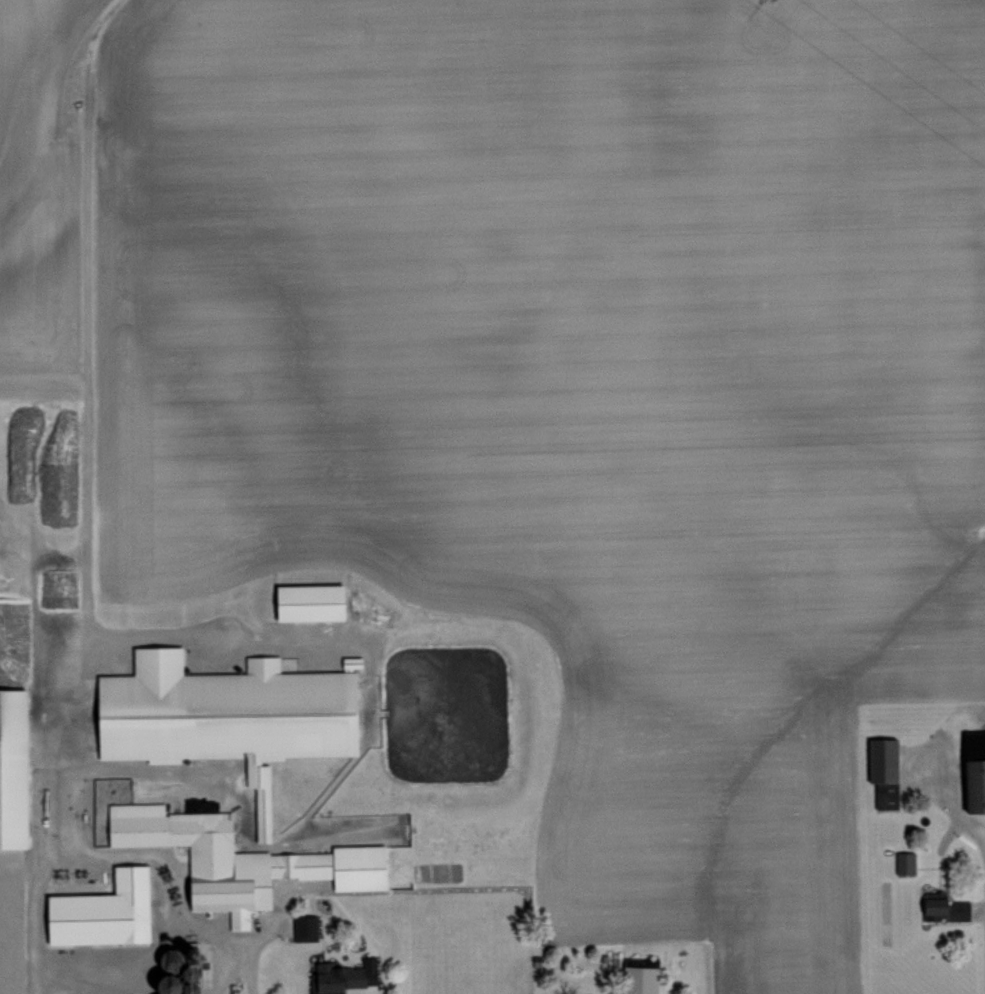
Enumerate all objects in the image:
building: (303, 600)
building: (219, 715)
building: (10, 766)
building: (880, 769)
road: (120, 852)
building: (234, 858)
building: (901, 861)
building: (941, 909)
building: (99, 910)
road: (982, 917)
building: (301, 926)
road: (216, 967)
building: (339, 976)
building: (637, 976)

